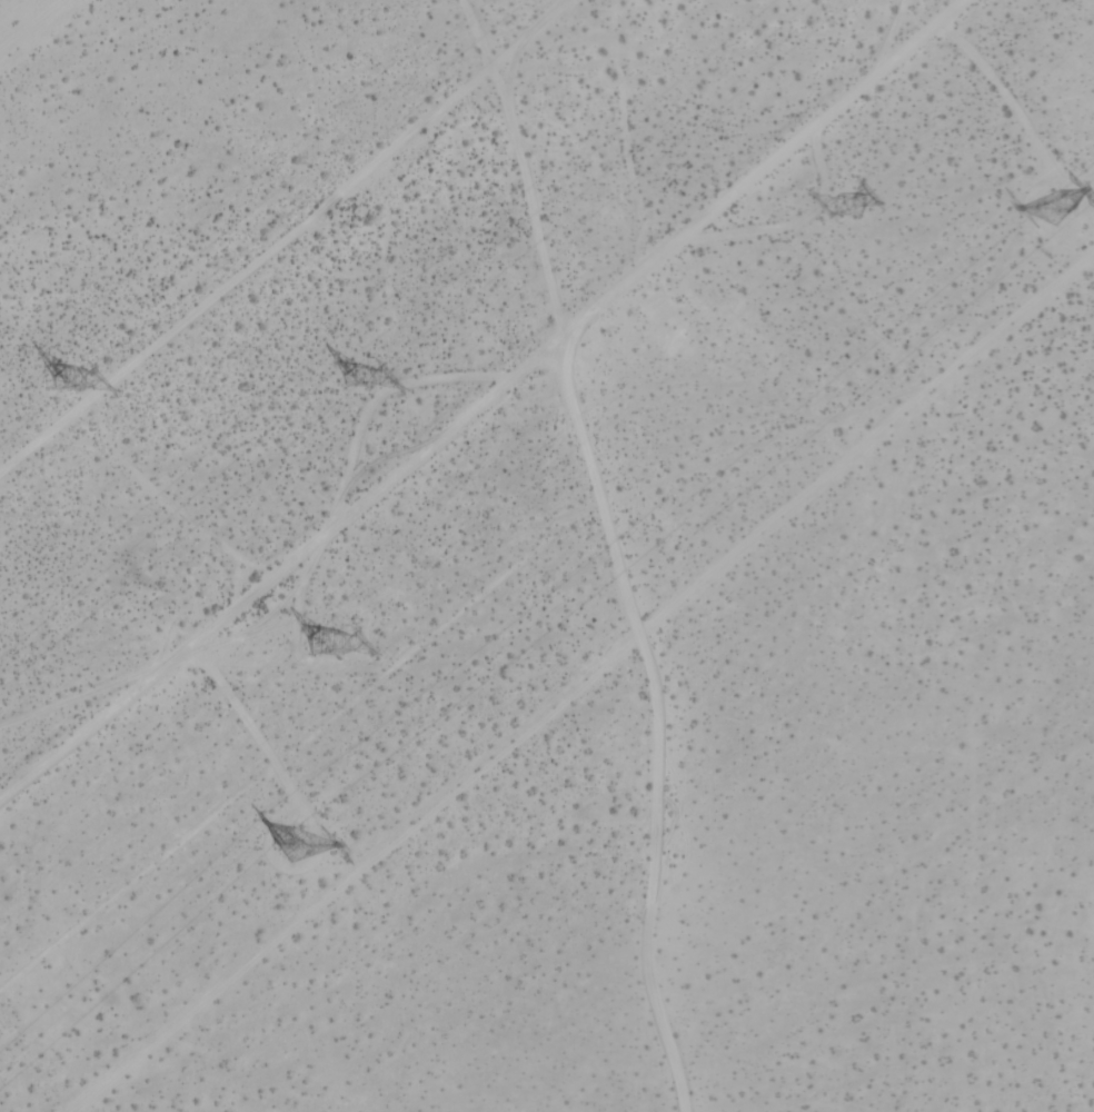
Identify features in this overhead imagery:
power tower: (1046, 207)
power tower: (836, 210)
road: (652, 318)
power tower: (347, 374)
power tower: (71, 376)
road: (469, 396)
power tower: (337, 638)
power tower: (298, 840)

